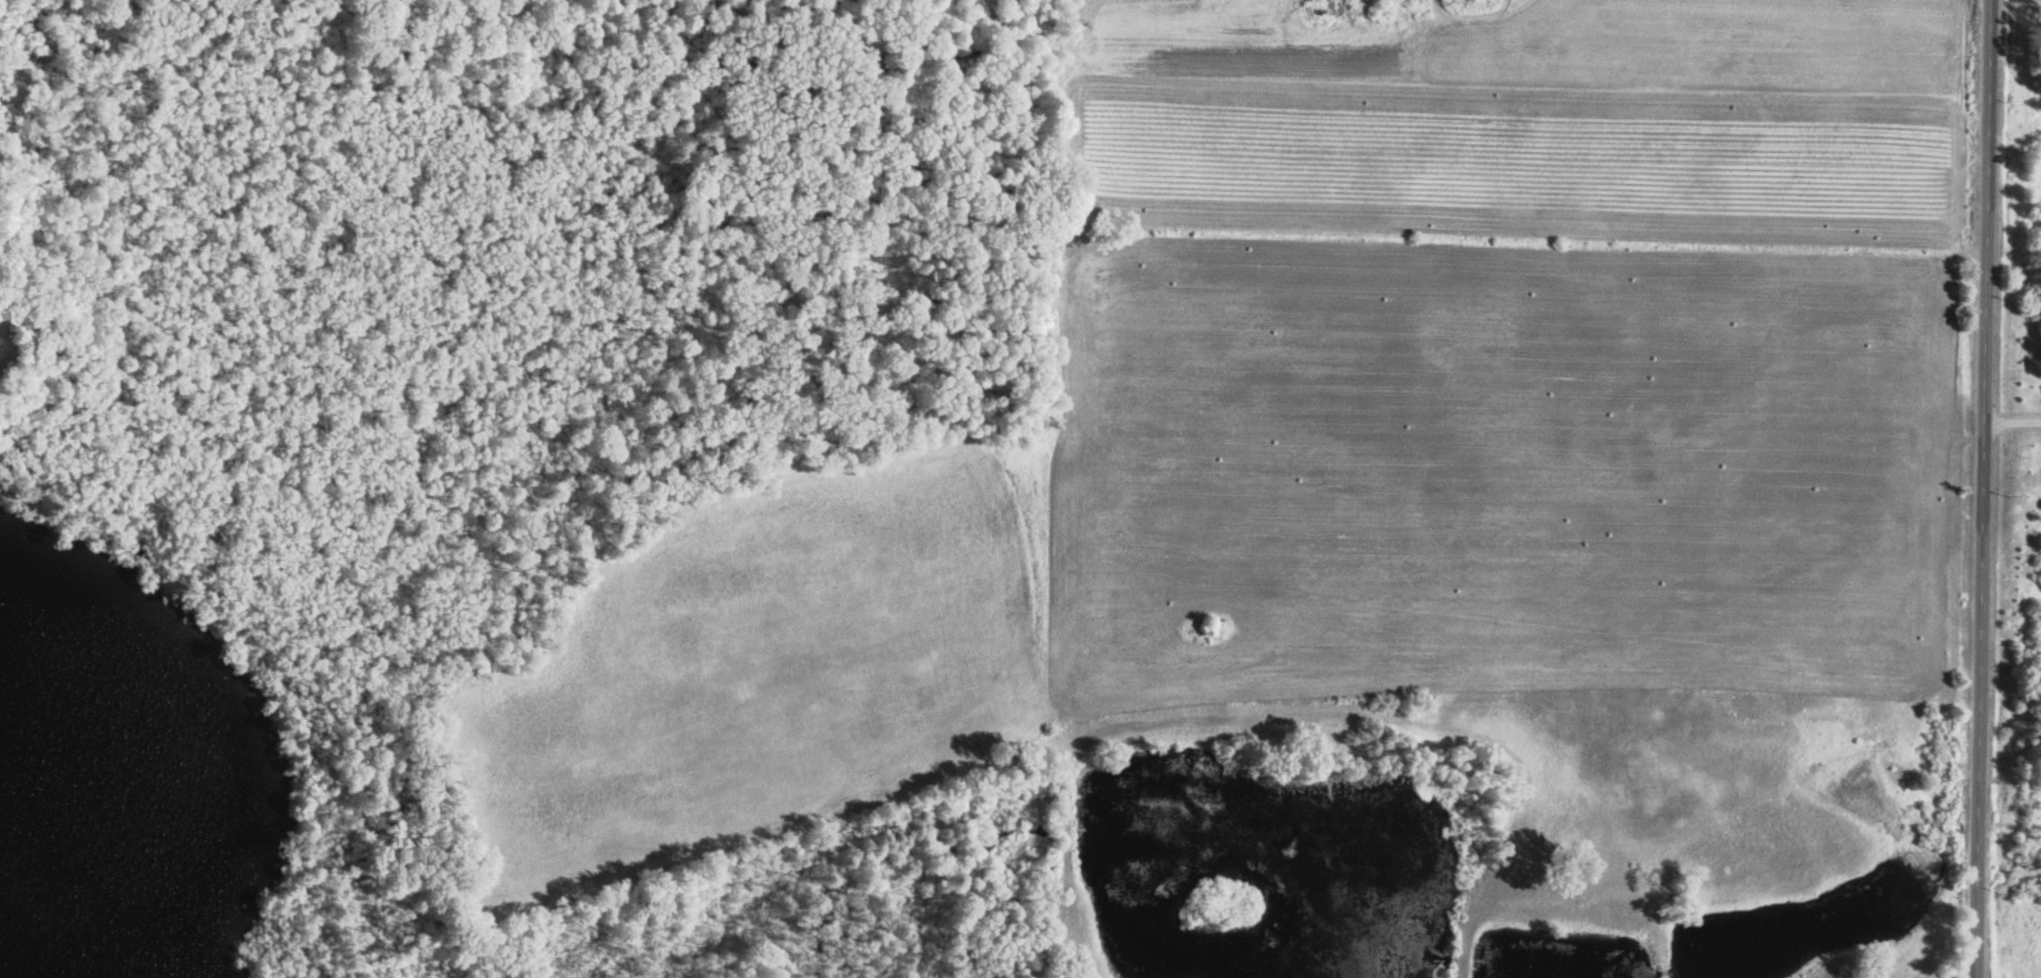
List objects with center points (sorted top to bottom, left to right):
road: (157, 240)
road: (1982, 489)

